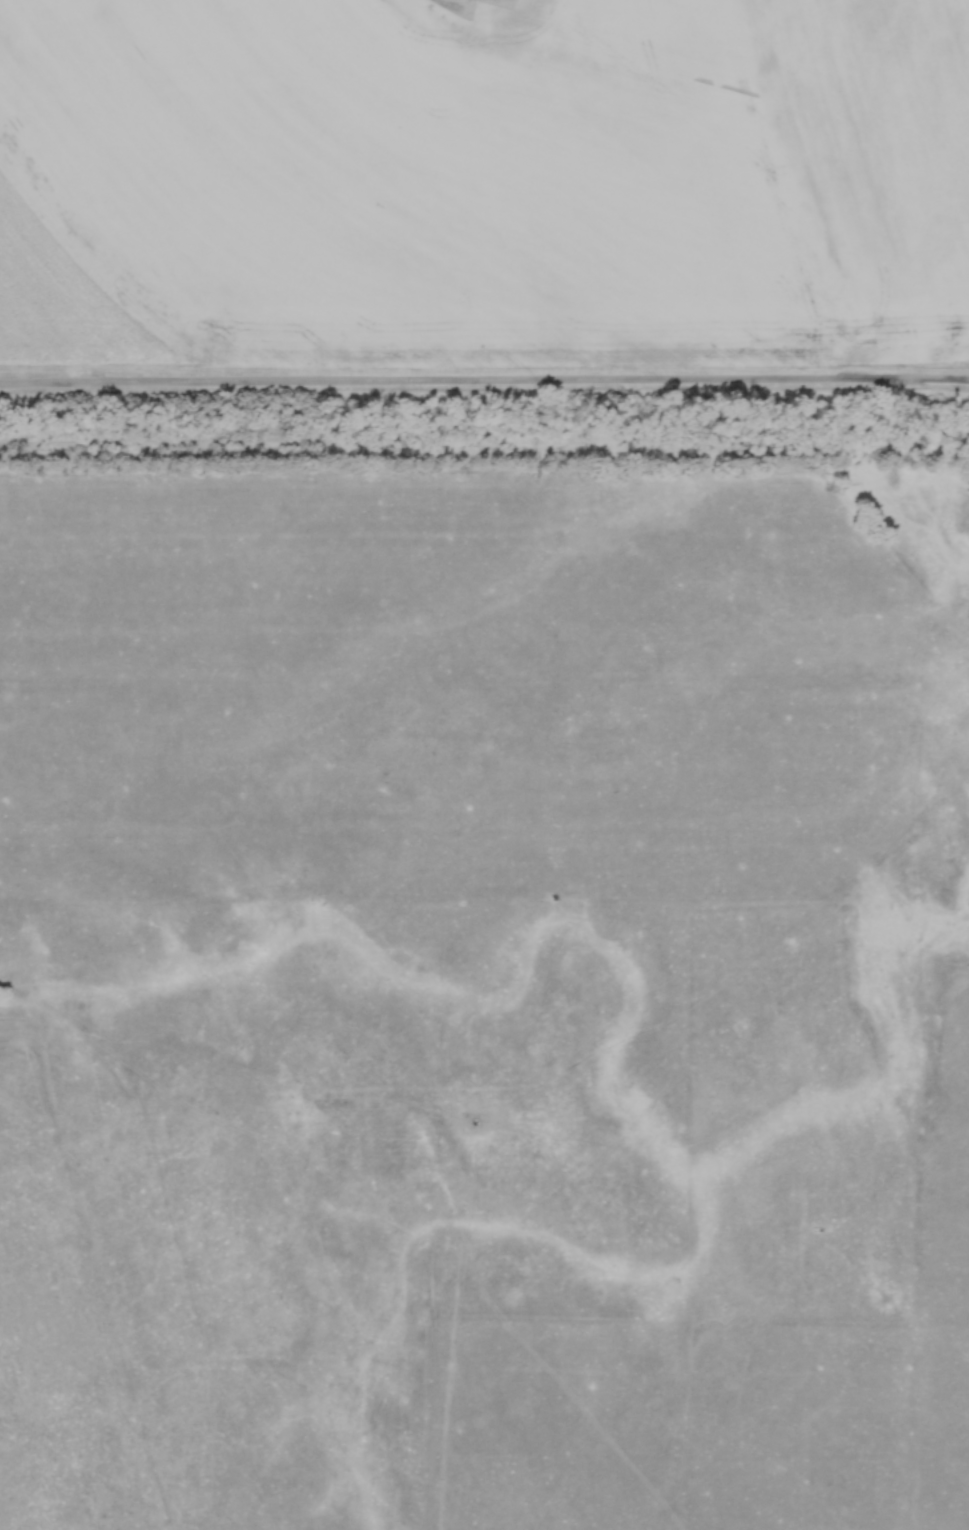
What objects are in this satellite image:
road: (484, 381)

